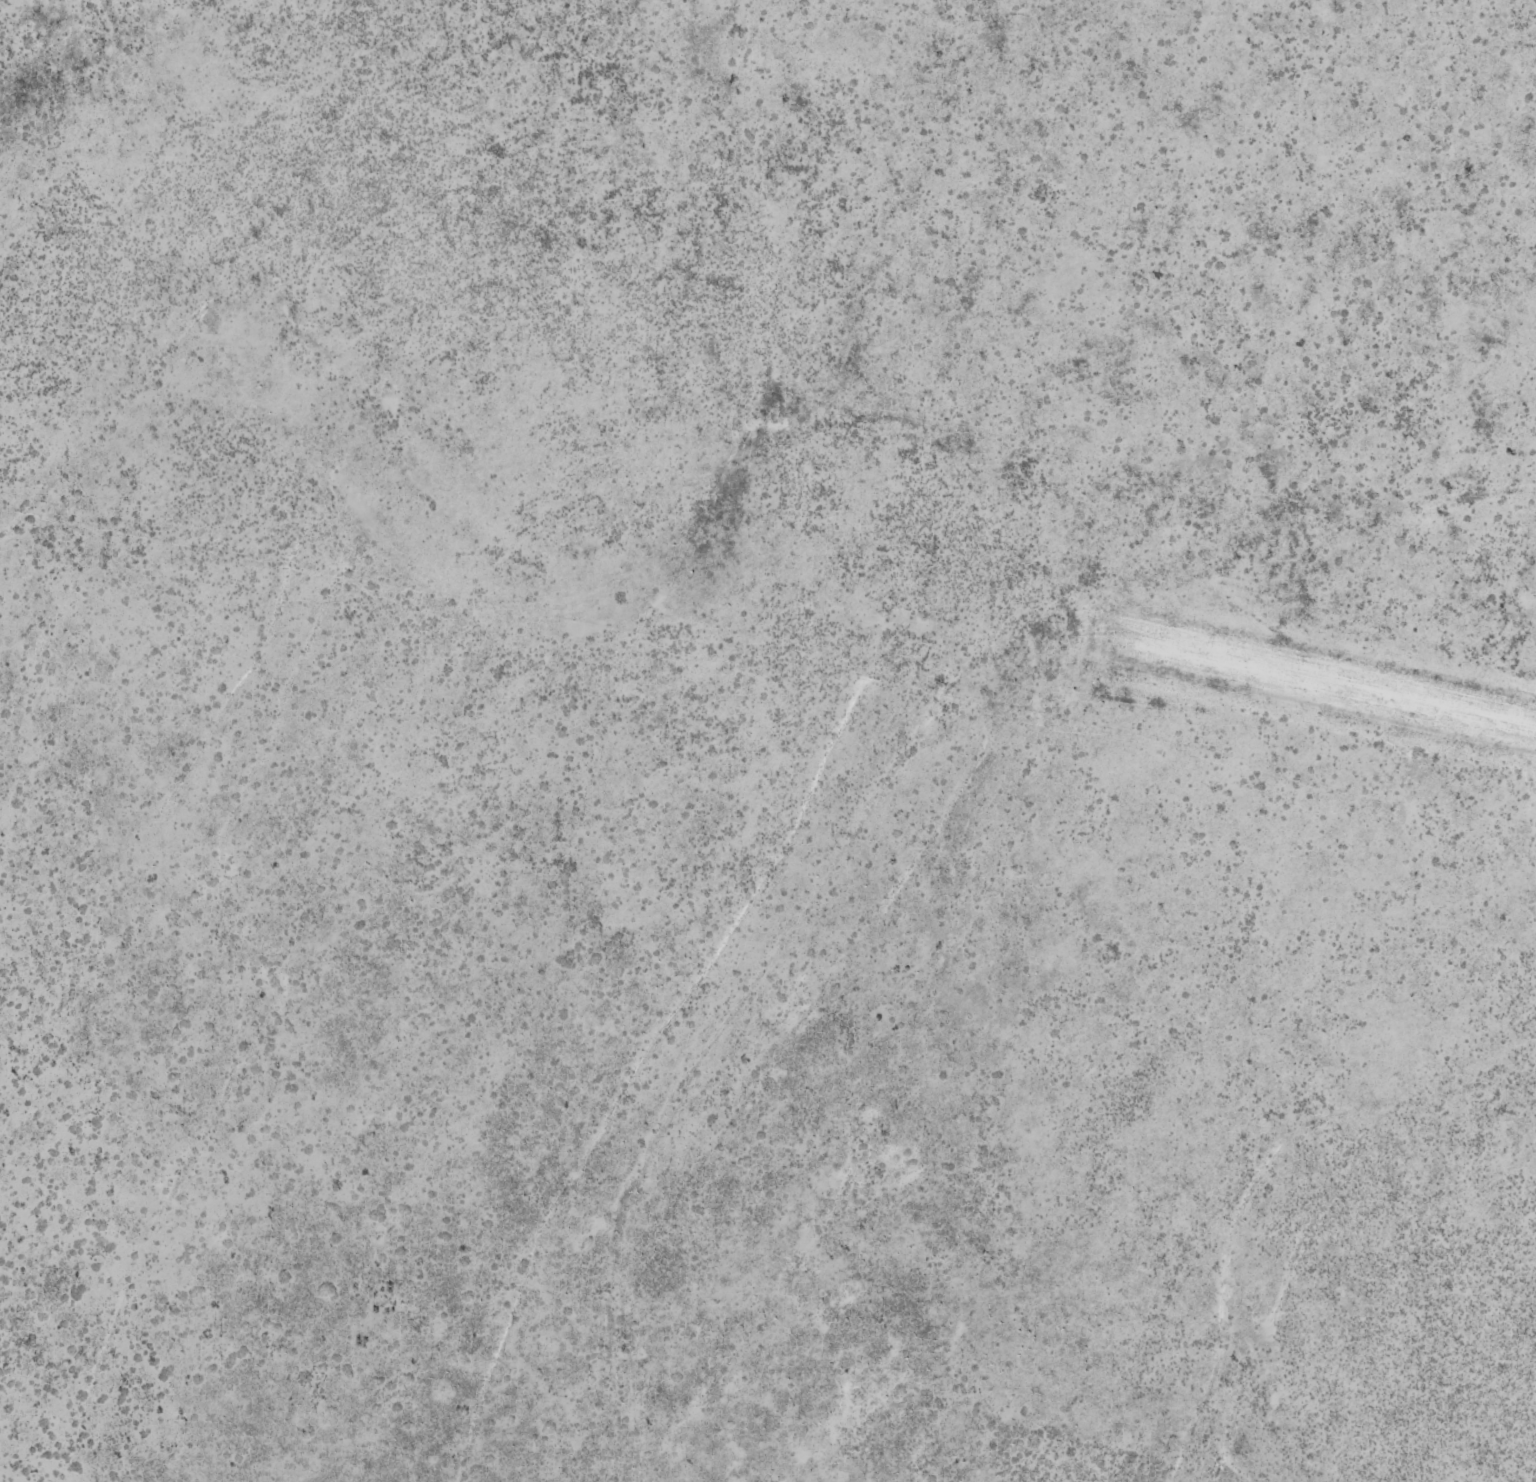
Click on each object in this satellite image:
airport runway: (1332, 678)

